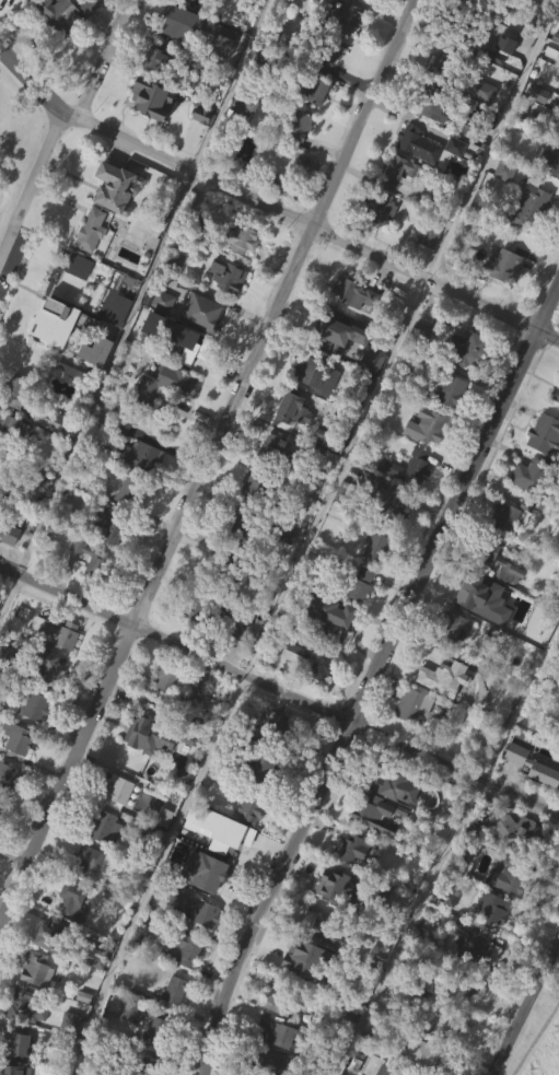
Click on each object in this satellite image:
building: (476, 0)
building: (485, 0)
building: (20, 11)
building: (57, 15)
building: (342, 17)
building: (185, 22)
building: (459, 27)
building: (329, 47)
building: (57, 52)
road: (104, 59)
building: (152, 60)
building: (176, 60)
building: (443, 65)
building: (197, 66)
building: (216, 68)
road: (30, 82)
building: (502, 83)
building: (218, 84)
building: (330, 89)
building: (479, 89)
building: (307, 91)
building: (145, 97)
building: (493, 97)
building: (432, 101)
building: (294, 124)
building: (478, 128)
building: (557, 128)
building: (314, 131)
park: (13, 136)
building: (149, 138)
building: (427, 145)
building: (199, 152)
building: (550, 157)
building: (296, 164)
building: (396, 173)
building: (427, 186)
road: (32, 187)
building: (118, 187)
building: (548, 200)
building: (526, 203)
building: (374, 207)
building: (502, 208)
building: (396, 212)
building: (113, 226)
building: (185, 226)
road: (311, 227)
building: (88, 230)
building: (242, 237)
building: (525, 244)
building: (376, 247)
building: (502, 265)
building: (224, 274)
building: (73, 276)
building: (426, 276)
building: (351, 292)
building: (161, 300)
building: (72, 303)
building: (499, 304)
building: (110, 311)
building: (202, 313)
building: (223, 314)
building: (69, 329)
building: (335, 331)
building: (420, 335)
road: (400, 337)
building: (160, 339)
building: (115, 347)
building: (463, 347)
building: (194, 350)
building: (69, 365)
building: (339, 369)
building: (173, 374)
building: (314, 374)
building: (163, 386)
building: (93, 389)
building: (450, 390)
building: (14, 392)
building: (555, 392)
building: (368, 399)
building: (69, 407)
building: (290, 408)
building: (311, 413)
building: (44, 419)
building: (162, 422)
building: (431, 423)
building: (449, 430)
building: (11, 431)
building: (541, 433)
building: (281, 449)
building: (139, 454)
road: (207, 463)
building: (423, 465)
building: (406, 467)
building: (12, 469)
building: (543, 472)
building: (527, 476)
building: (255, 488)
building: (126, 492)
building: (384, 496)
building: (405, 507)
building: (503, 515)
building: (521, 515)
building: (233, 525)
building: (106, 526)
building: (252, 527)
building: (124, 529)
building: (376, 542)
building: (493, 554)
building: (88, 560)
building: (106, 565)
building: (224, 568)
building: (13, 570)
building: (283, 574)
building: (374, 583)
building: (358, 585)
building: (491, 588)
building: (463, 592)
road: (9, 594)
building: (326, 612)
building: (241, 614)
building: (216, 615)
building: (358, 622)
building: (449, 628)
building: (57, 631)
building: (327, 652)
building: (306, 654)
building: (5, 663)
building: (48, 665)
building: (427, 668)
building: (447, 669)
road: (370, 671)
building: (166, 677)
road: (279, 690)
building: (311, 697)
building: (46, 704)
building: (410, 704)
building: (428, 704)
building: (33, 706)
building: (163, 717)
building: (278, 728)
building: (159, 734)
building: (15, 737)
building: (409, 743)
building: (33, 745)
building: (255, 764)
building: (532, 764)
building: (145, 774)
building: (7, 778)
building: (393, 785)
building: (118, 787)
building: (532, 804)
building: (249, 806)
building: (371, 813)
building: (5, 816)
building: (480, 816)
building: (393, 826)
building: (102, 828)
building: (116, 828)
building: (516, 831)
building: (234, 839)
building: (248, 845)
building: (349, 848)
building: (372, 853)
building: (473, 863)
building: (82, 864)
building: (102, 865)
road: (153, 872)
building: (509, 874)
building: (216, 875)
building: (329, 884)
building: (347, 886)
building: (69, 898)
building: (83, 900)
building: (491, 908)
building: (197, 909)
building: (319, 926)
road: (409, 927)
building: (376, 931)
building: (68, 936)
building: (479, 943)
building: (68, 946)
building: (186, 950)
building: (293, 956)
building: (34, 969)
building: (471, 981)
building: (185, 988)
building: (171, 991)
building: (281, 992)
building: (303, 993)
road: (523, 1003)
building: (26, 1006)
building: (441, 1025)
building: (171, 1027)
building: (155, 1029)
building: (278, 1029)
park: (539, 1042)
building: (14, 1043)
road: (539, 1043)
building: (126, 1049)
building: (421, 1055)
building: (68, 1060)
building: (436, 1060)
building: (272, 1064)
building: (154, 1065)
building: (142, 1067)
building: (7, 1070)
building: (389, 1070)

